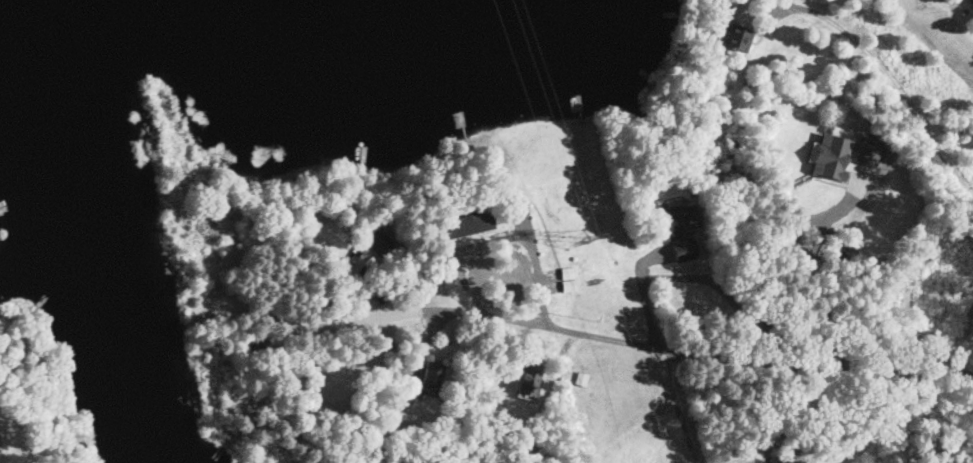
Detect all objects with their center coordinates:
road: (900, 96)
building: (826, 158)
building: (477, 224)
building: (669, 225)
power tower: (576, 242)
building: (378, 247)
building: (681, 251)
building: (564, 275)
road: (721, 358)
building: (437, 375)
building: (530, 382)
building: (1, 458)

